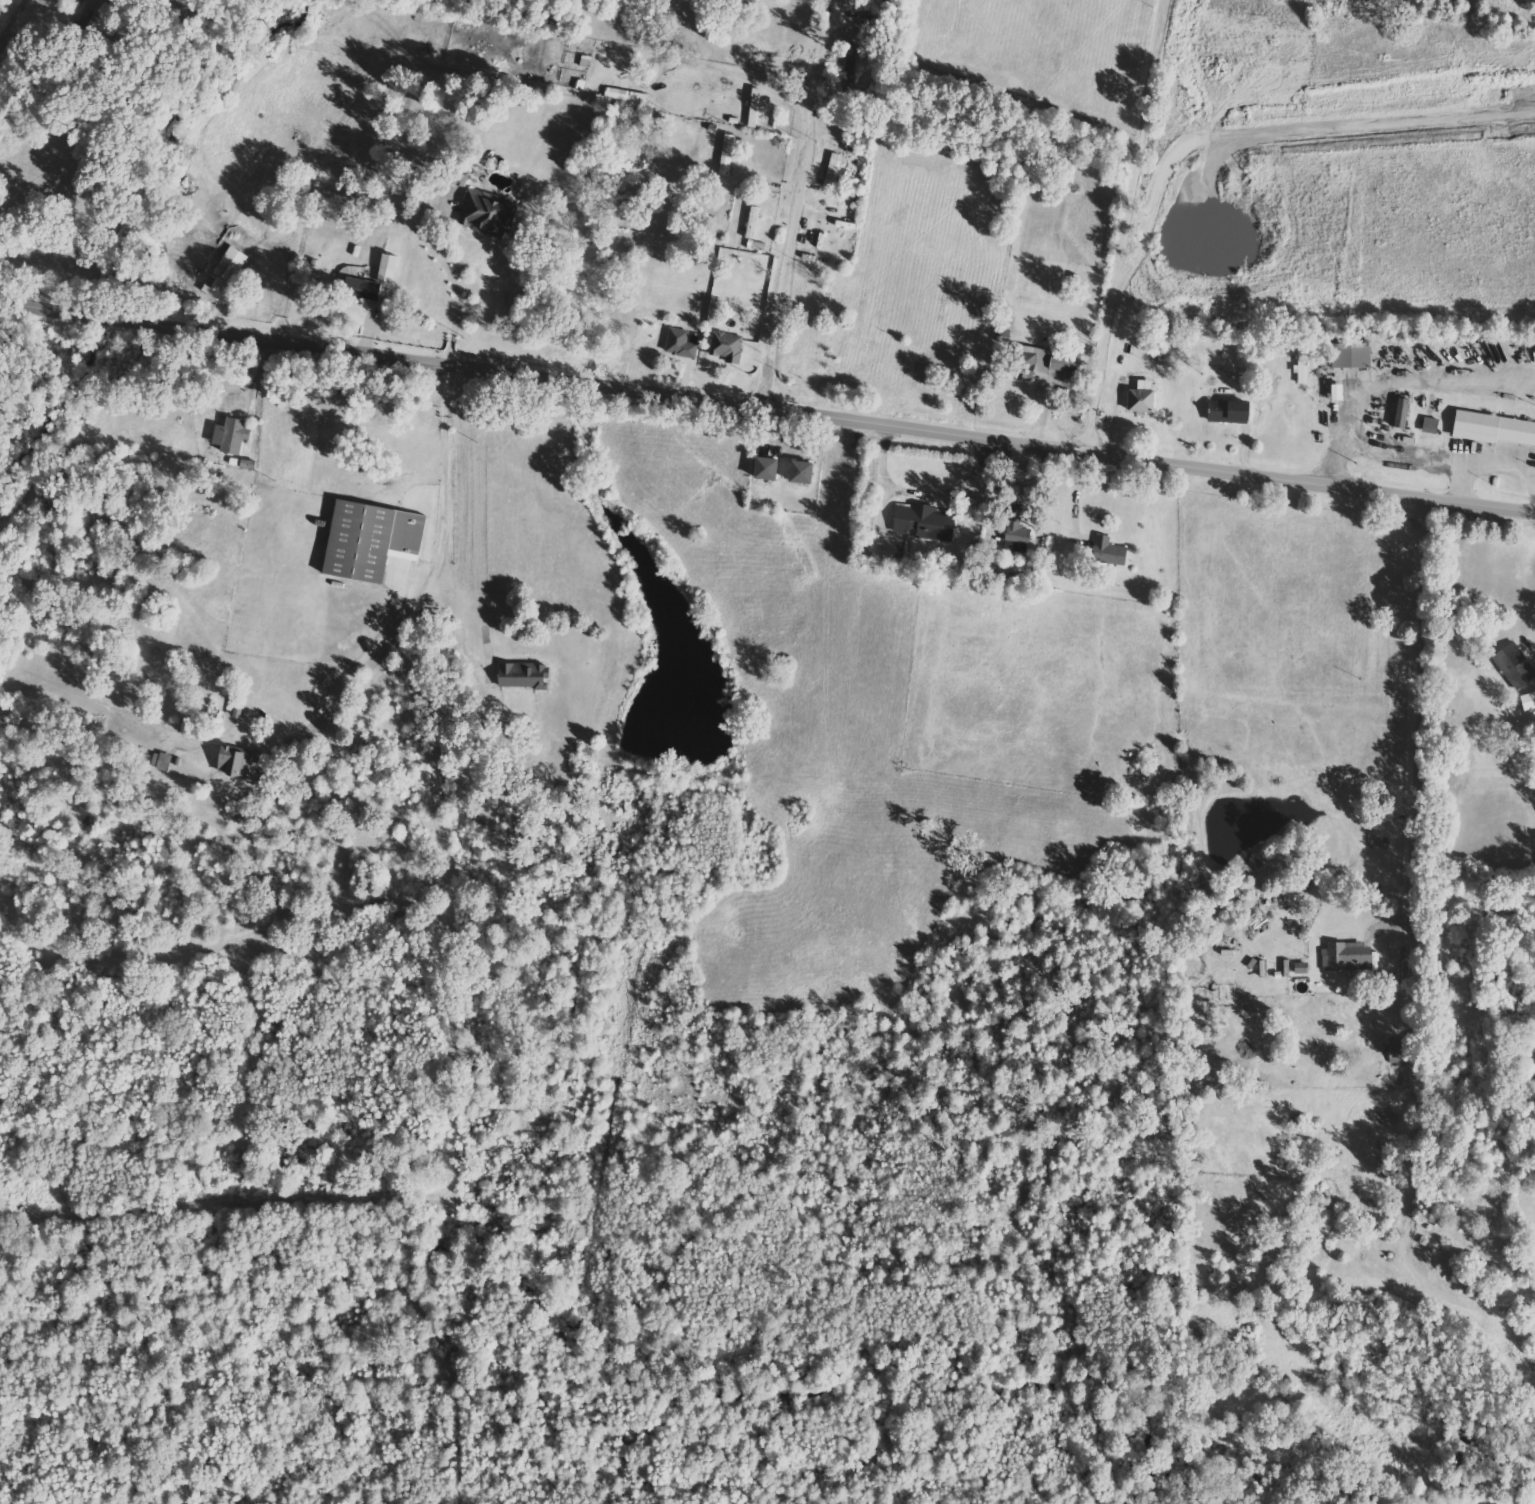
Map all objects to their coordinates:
building: (626, 99)
building: (725, 155)
building: (830, 170)
building: (451, 179)
road: (795, 202)
building: (483, 215)
building: (751, 223)
road: (1127, 226)
building: (391, 268)
building: (224, 273)
building: (368, 289)
building: (678, 344)
building: (723, 347)
building: (1036, 364)
road: (1046, 383)
building: (1138, 398)
road: (767, 407)
building: (1224, 412)
building: (1428, 426)
building: (1492, 429)
building: (235, 435)
building: (761, 469)
building: (796, 473)
road: (923, 493)
building: (921, 522)
building: (1013, 538)
building: (375, 539)
building: (1105, 552)
building: (1512, 665)
building: (526, 675)
building: (1526, 701)
building: (239, 760)
building: (164, 761)
building: (1344, 956)
building: (1285, 968)
building: (1298, 968)

